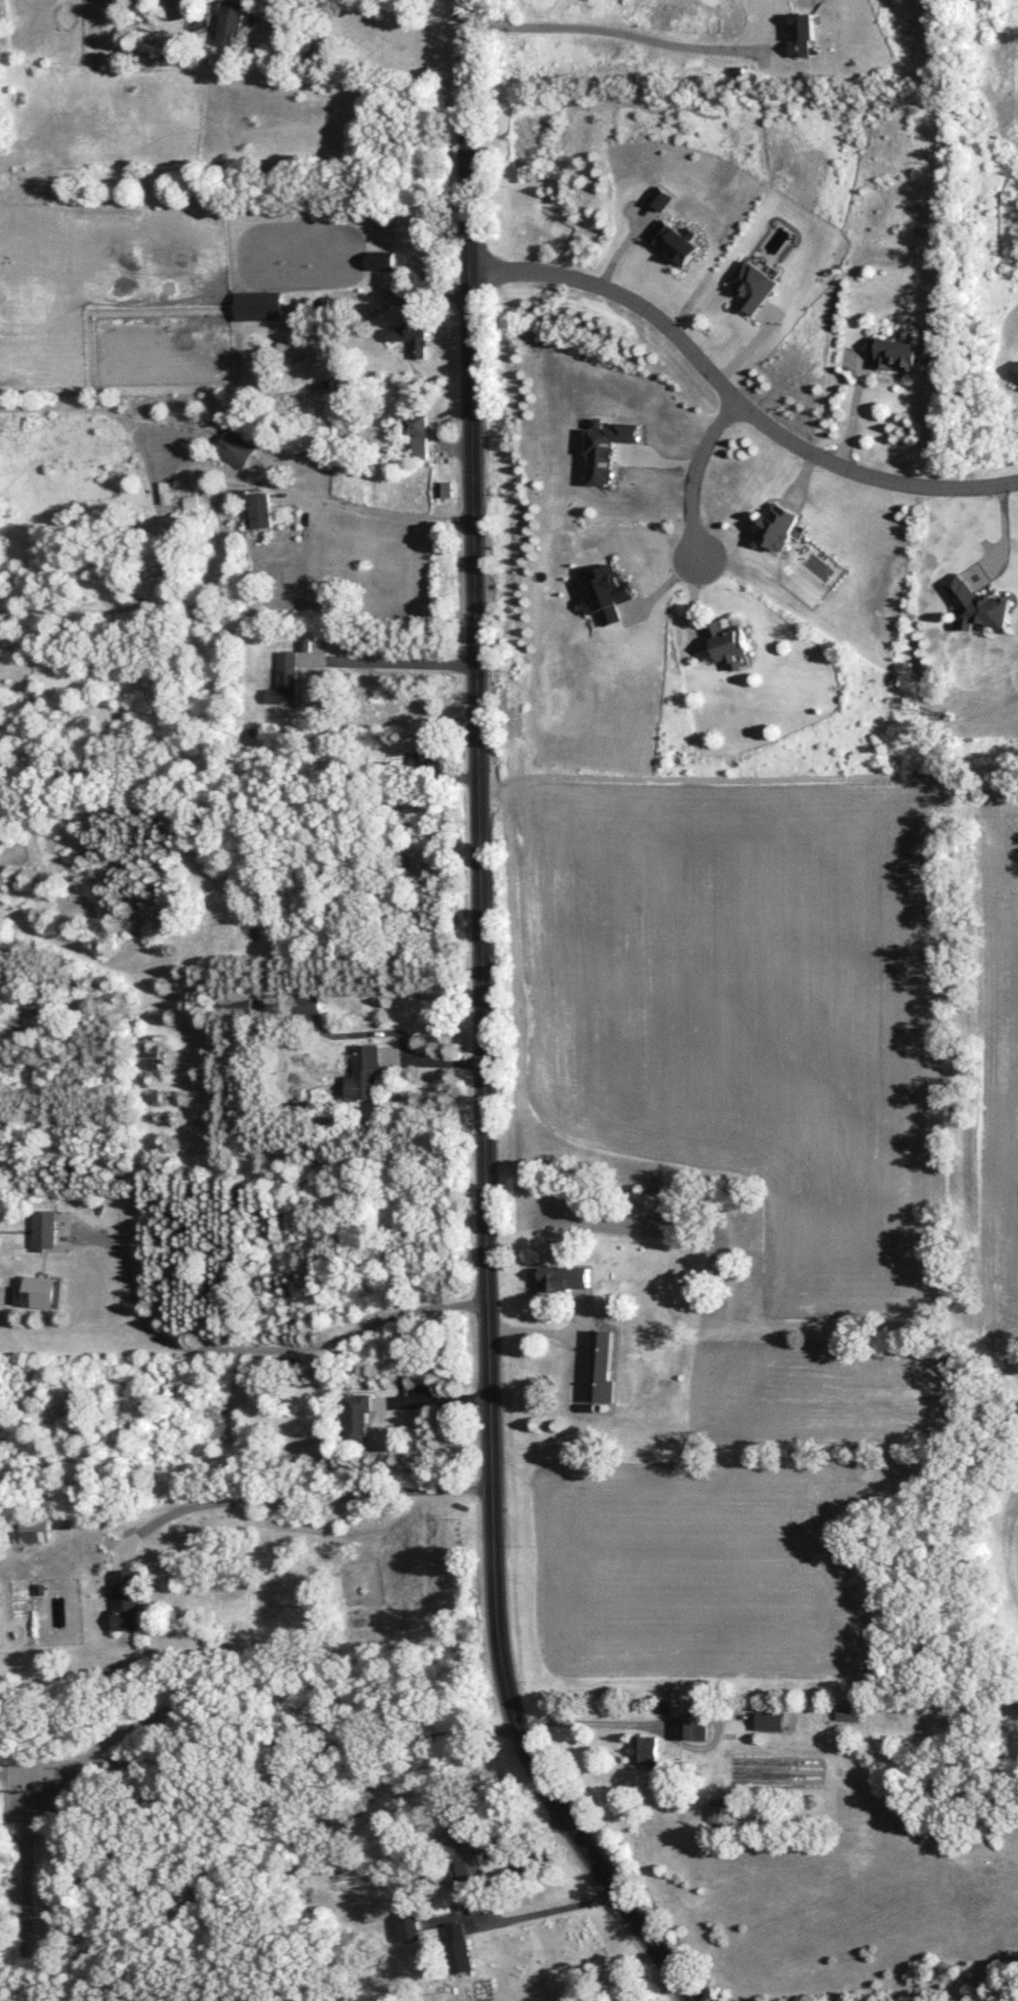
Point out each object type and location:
building: (231, 21)
building: (804, 33)
road: (622, 34)
building: (662, 197)
building: (677, 240)
building: (379, 259)
building: (752, 286)
building: (411, 332)
building: (295, 348)
building: (897, 354)
building: (1014, 372)
road: (736, 400)
road: (854, 414)
building: (417, 433)
building: (235, 448)
road: (691, 470)
building: (189, 501)
road: (389, 514)
building: (778, 526)
building: (610, 592)
building: (974, 604)
building: (730, 643)
building: (286, 679)
road: (400, 687)
building: (422, 755)
road: (485, 1028)
road: (402, 1032)
building: (366, 1070)
building: (47, 1228)
building: (565, 1277)
building: (36, 1292)
road: (536, 1329)
road: (250, 1349)
road: (437, 1399)
building: (359, 1415)
road: (301, 1495)
building: (36, 1529)
building: (128, 1600)
building: (667, 1705)
building: (771, 1720)
road: (574, 1727)
building: (695, 1728)
building: (644, 1749)
building: (464, 1847)
road: (551, 1909)
building: (410, 1926)
building: (460, 1946)

